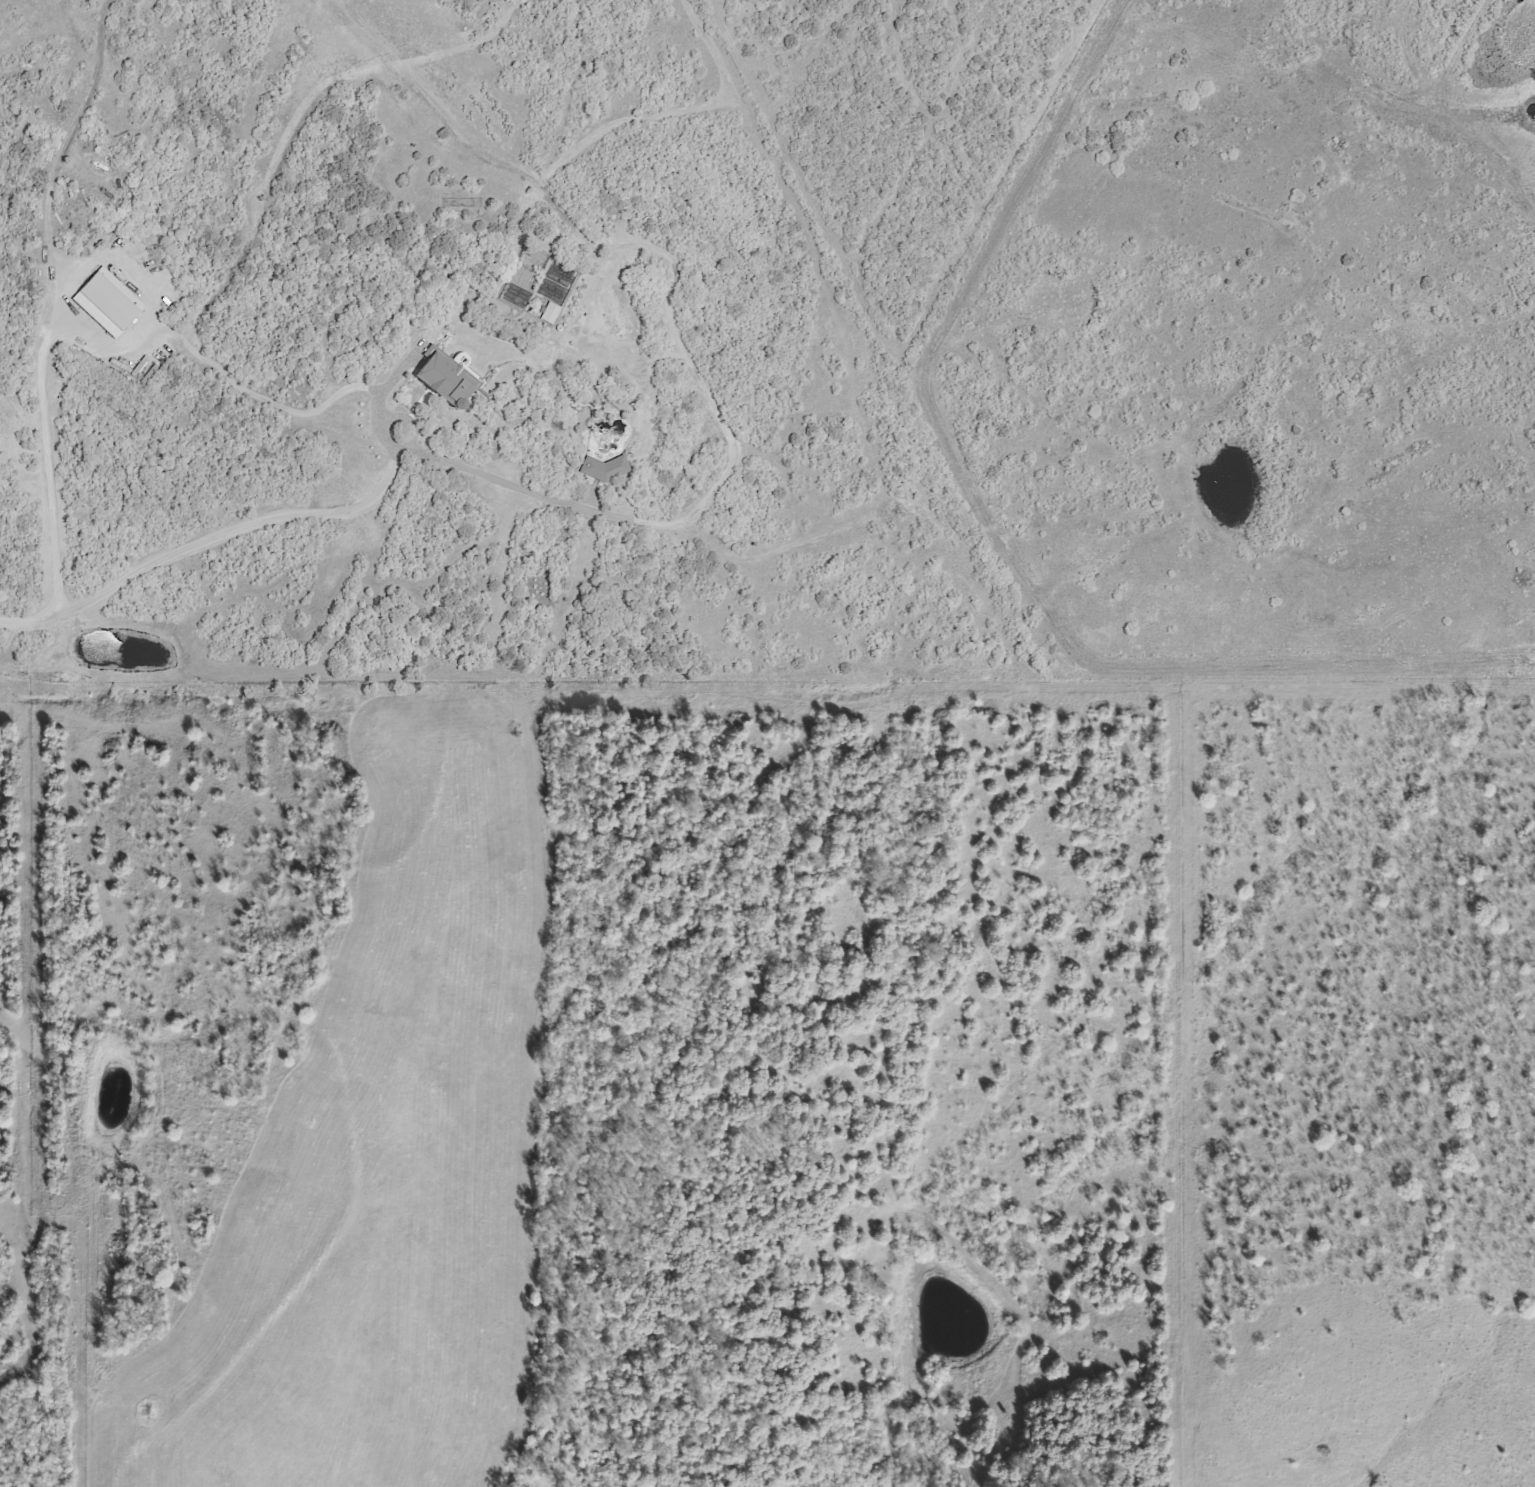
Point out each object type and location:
road: (61, 283)
building: (107, 302)
building: (549, 313)
road: (105, 345)
building: (445, 378)
road: (385, 416)
road: (694, 513)
road: (208, 540)

